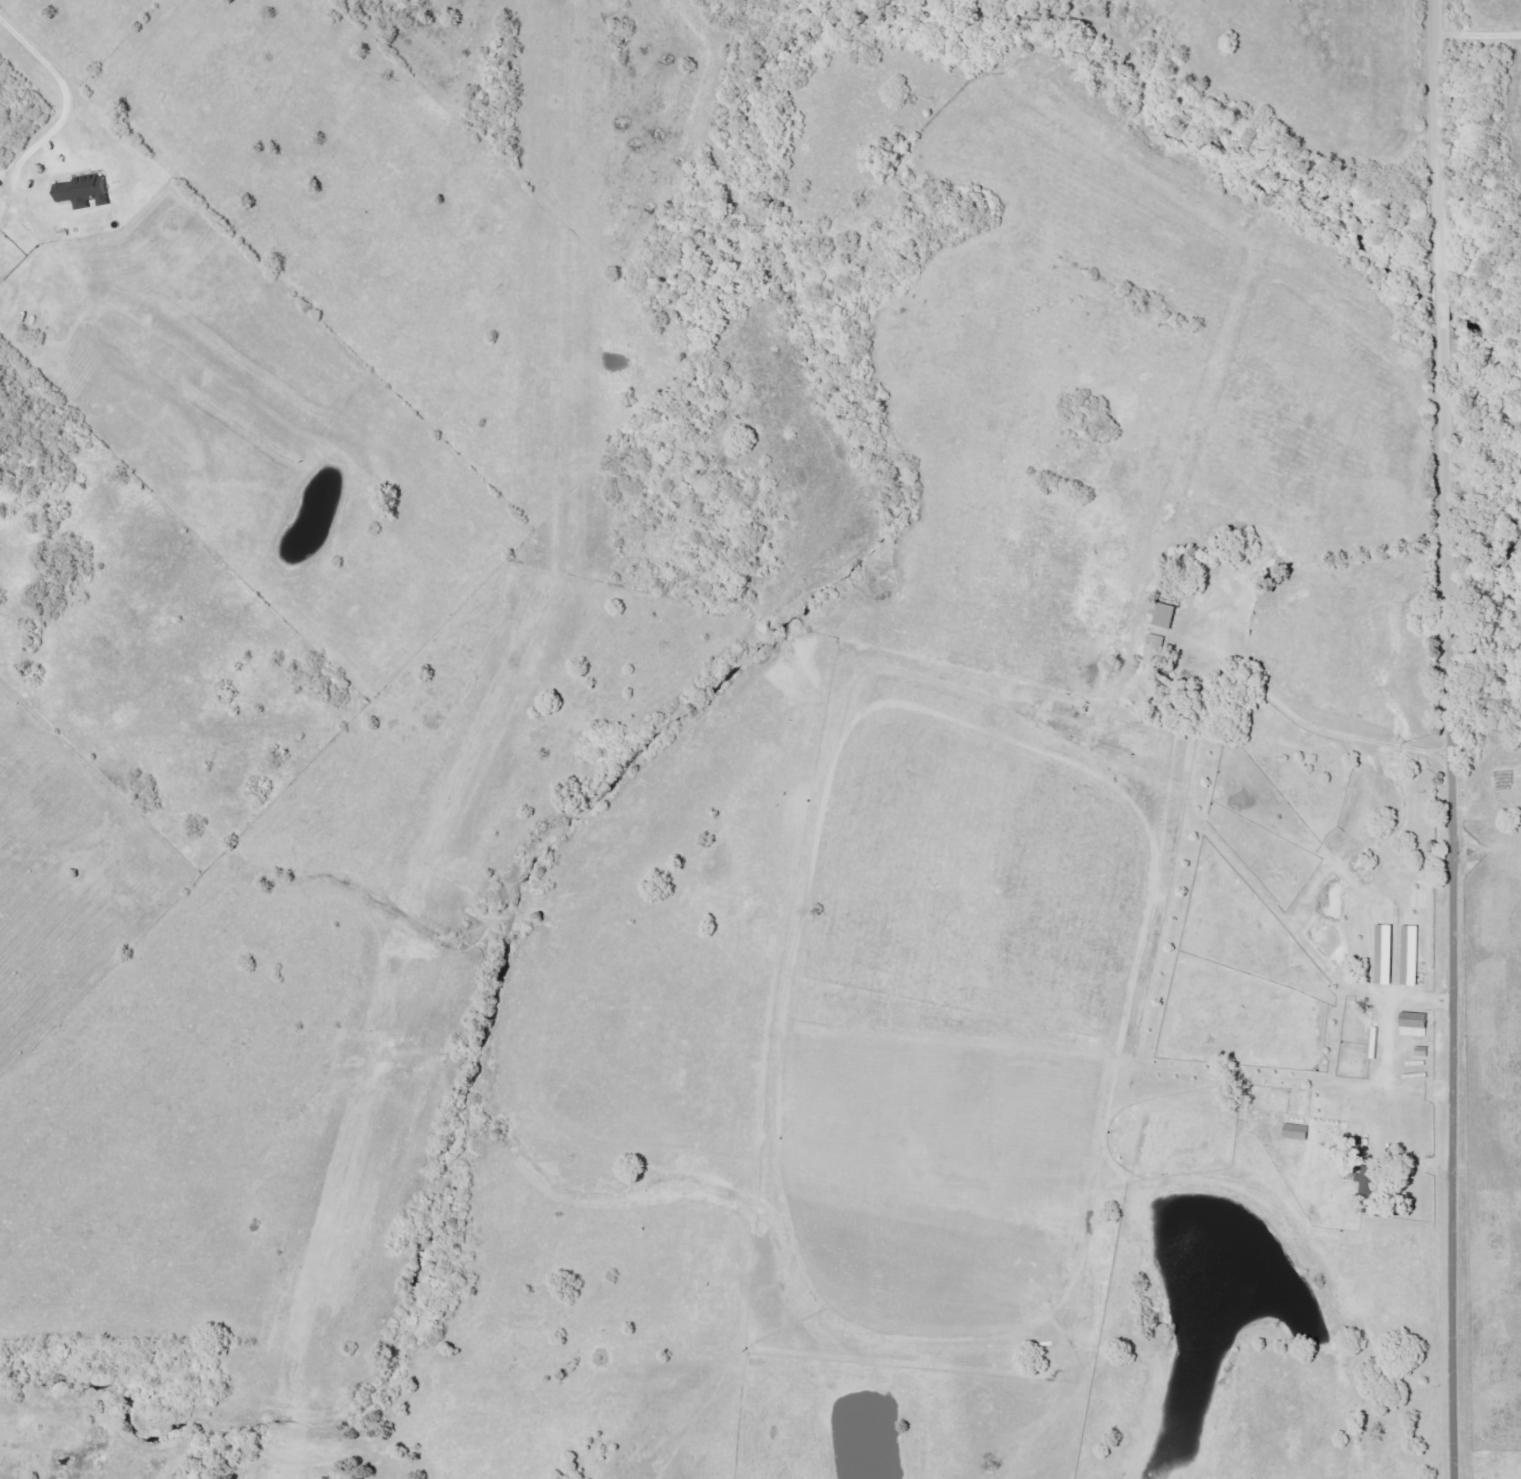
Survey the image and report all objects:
road: (63, 117)
building: (78, 188)
building: (1165, 616)
building: (1155, 648)
road: (1279, 709)
road: (1449, 739)
building: (1390, 949)
building: (1412, 956)
building: (1415, 1025)
building: (1297, 1133)
building: (1367, 1181)

